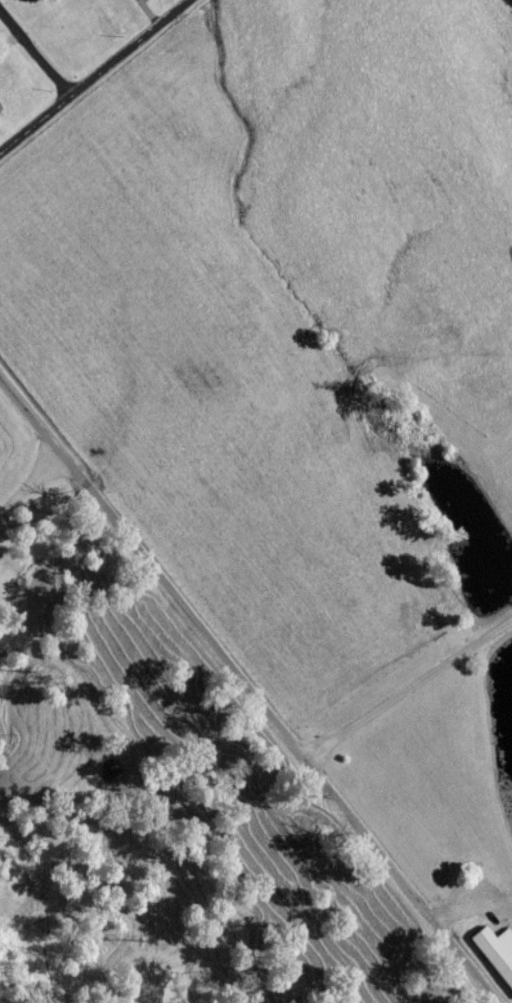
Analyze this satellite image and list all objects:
building: (144, 2)
road: (33, 59)
road: (96, 78)
road: (31, 423)
road: (31, 496)
road: (405, 691)
road: (277, 734)
building: (491, 960)

